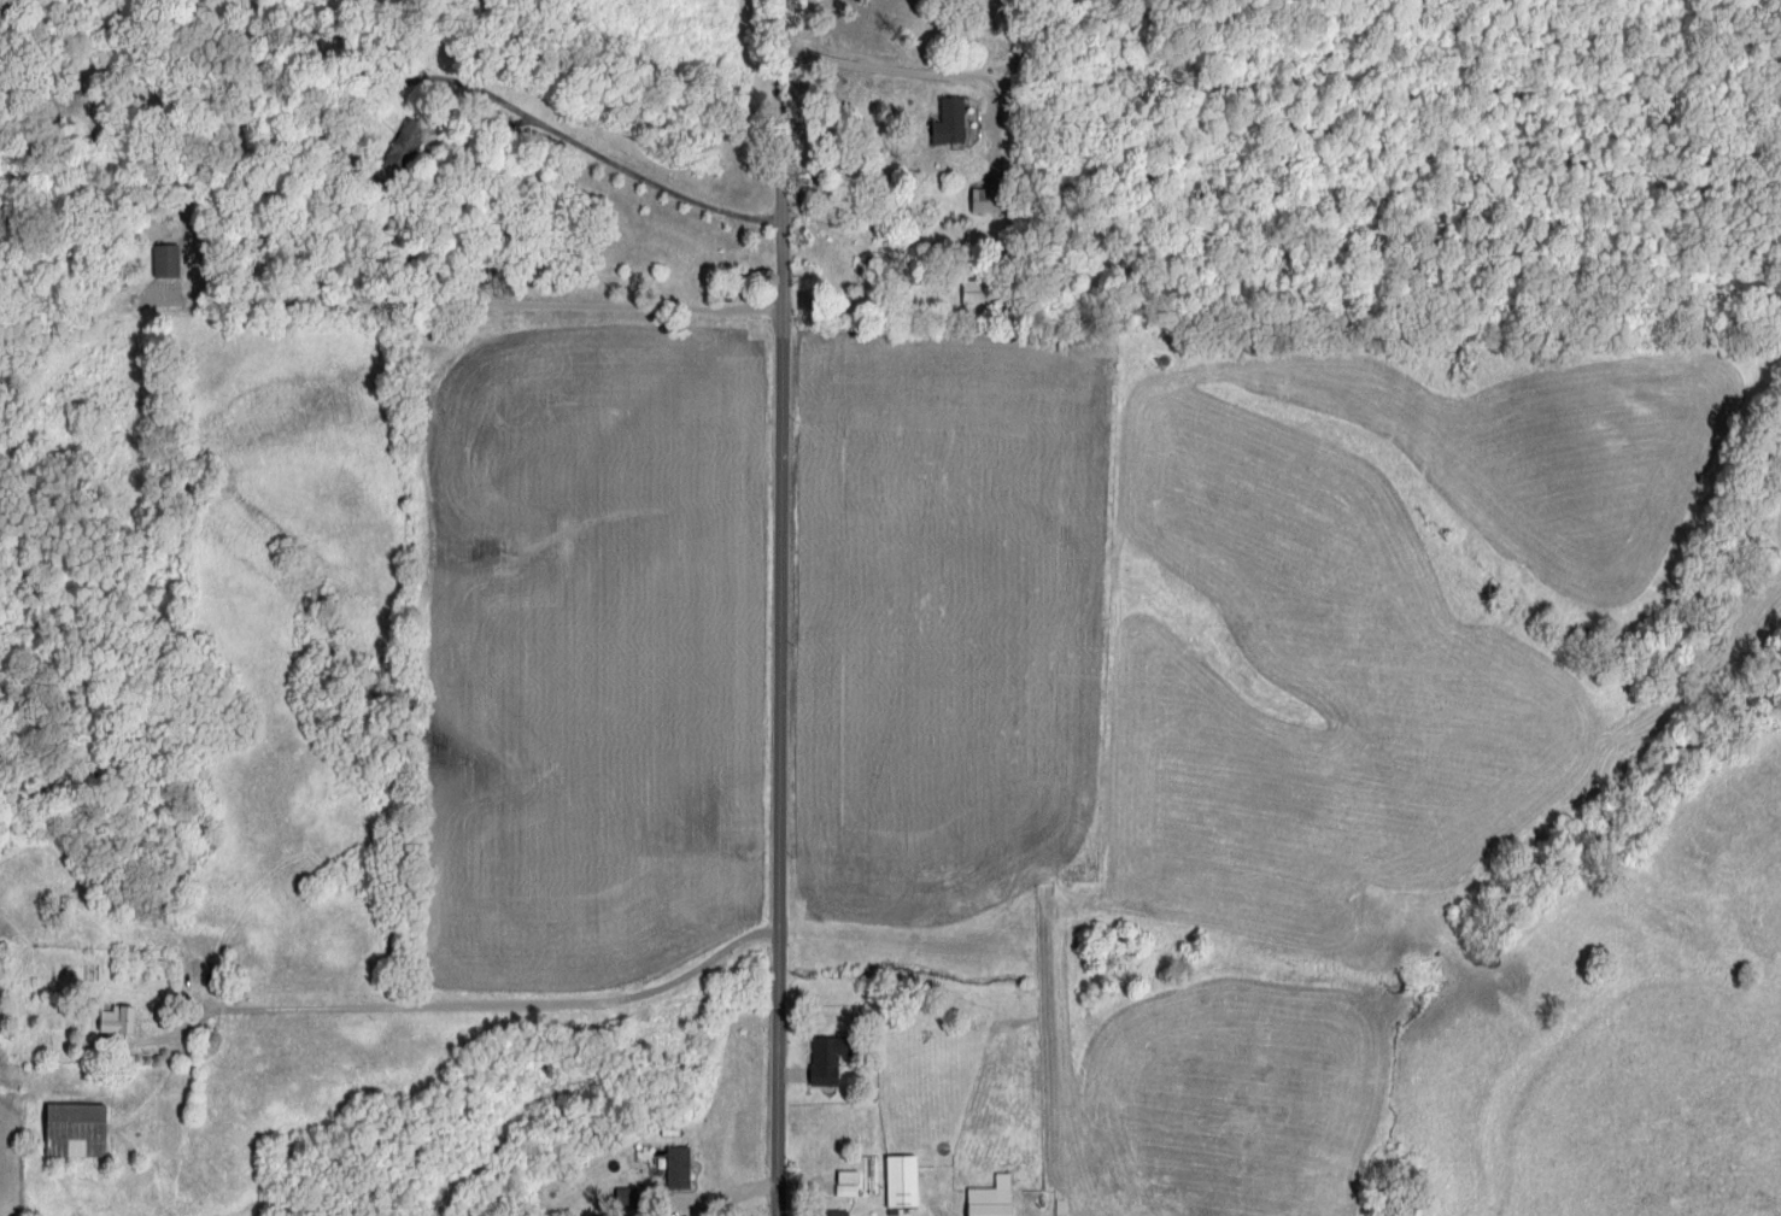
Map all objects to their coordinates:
road: (932, 75)
building: (783, 90)
building: (957, 123)
building: (412, 146)
road: (572, 164)
building: (992, 202)
building: (171, 263)
building: (986, 294)
road: (321, 300)
road: (781, 607)
road: (486, 1008)
building: (880, 1009)
building: (123, 1022)
building: (834, 1059)
building: (83, 1132)
building: (685, 1169)
building: (909, 1183)
building: (998, 1198)
road: (719, 1199)
building: (631, 1200)
building: (844, 1214)

